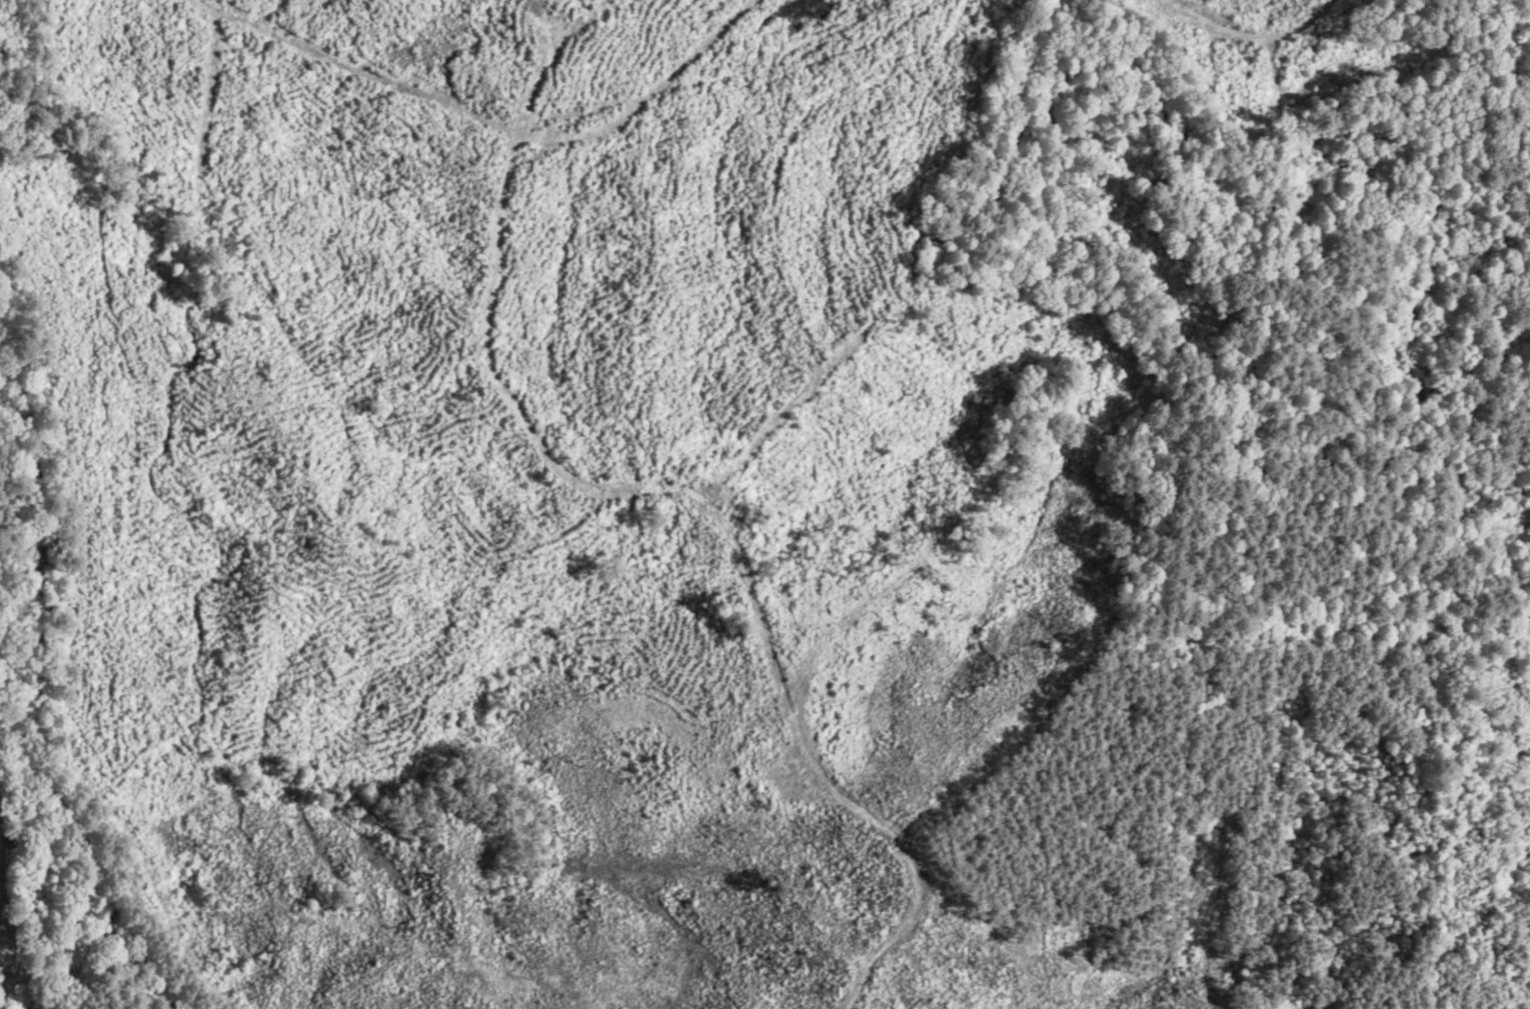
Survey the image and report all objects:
road: (0, 817)

